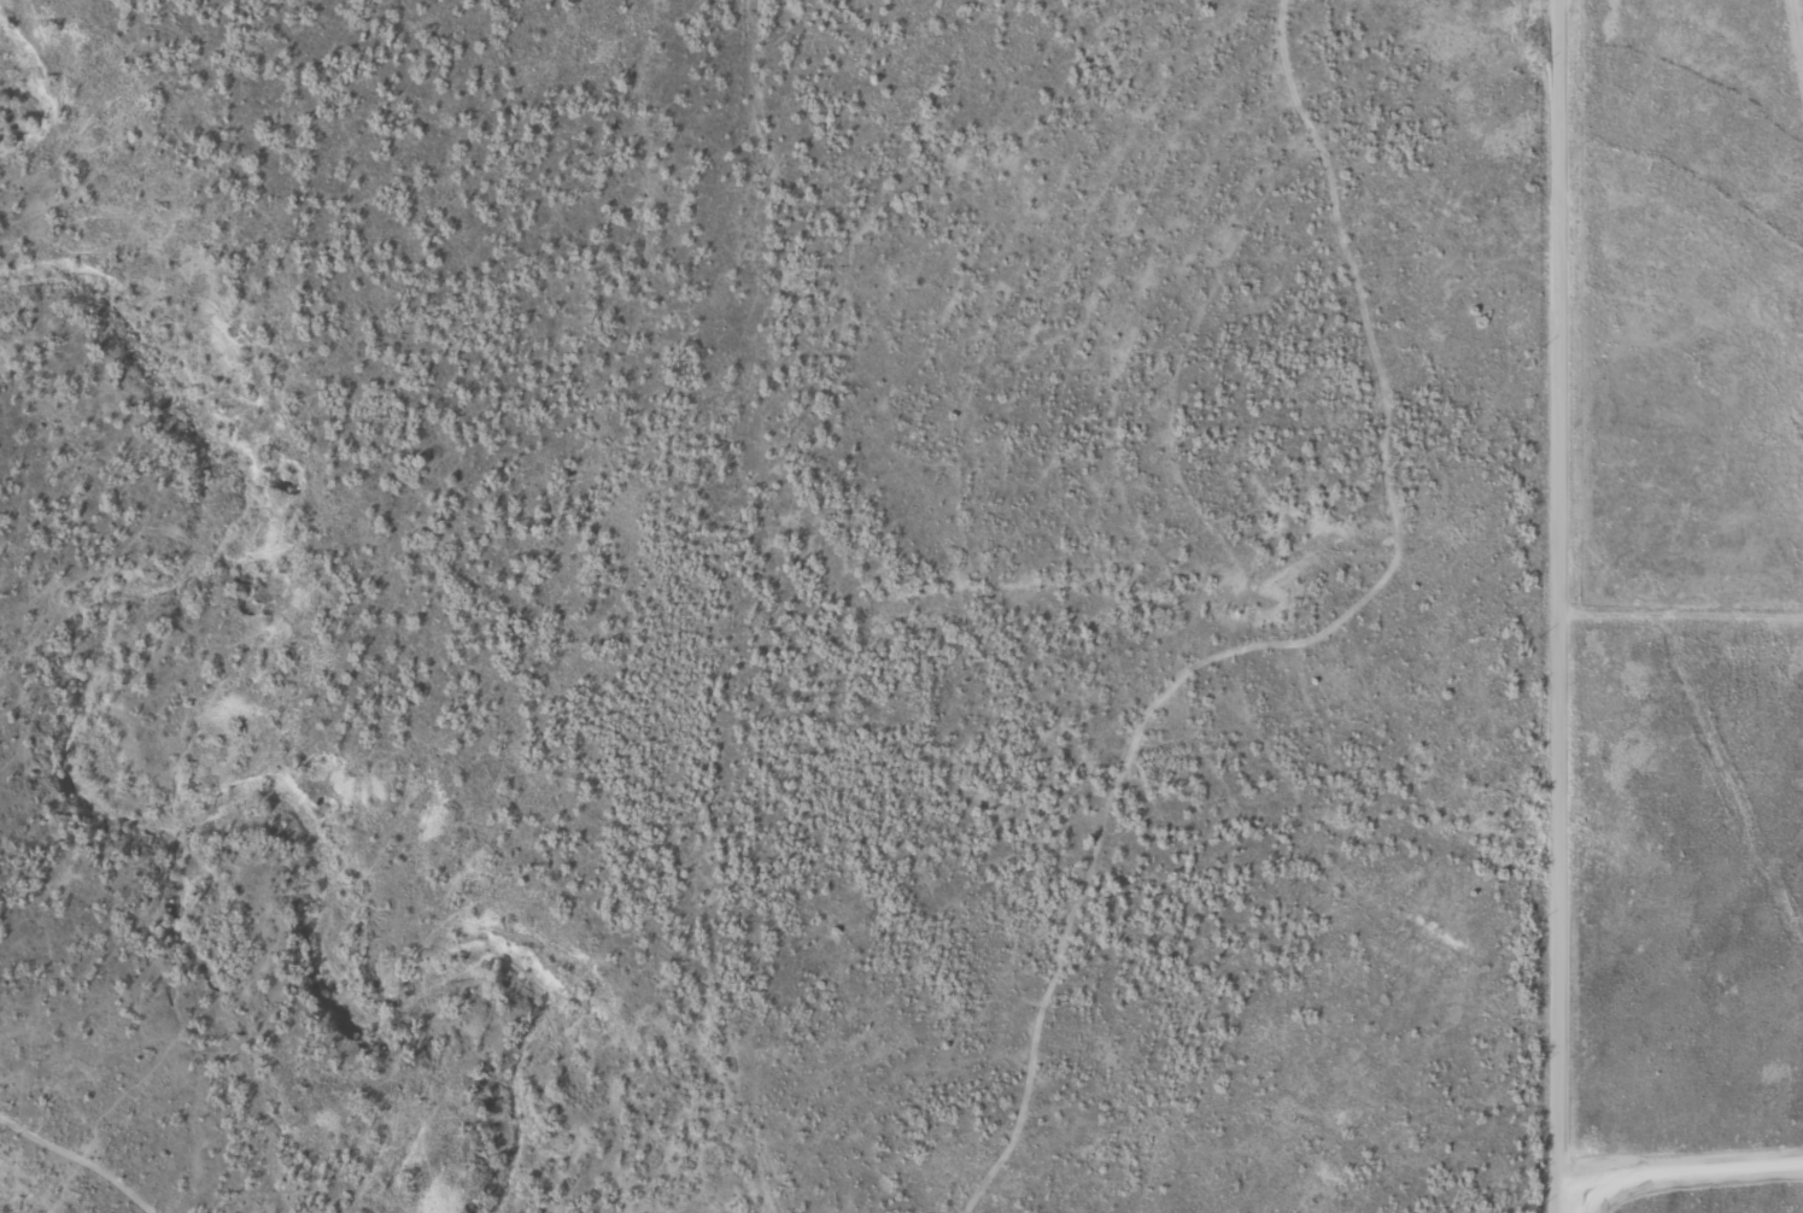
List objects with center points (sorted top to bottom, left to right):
road: (1594, 605)
road: (1699, 616)

